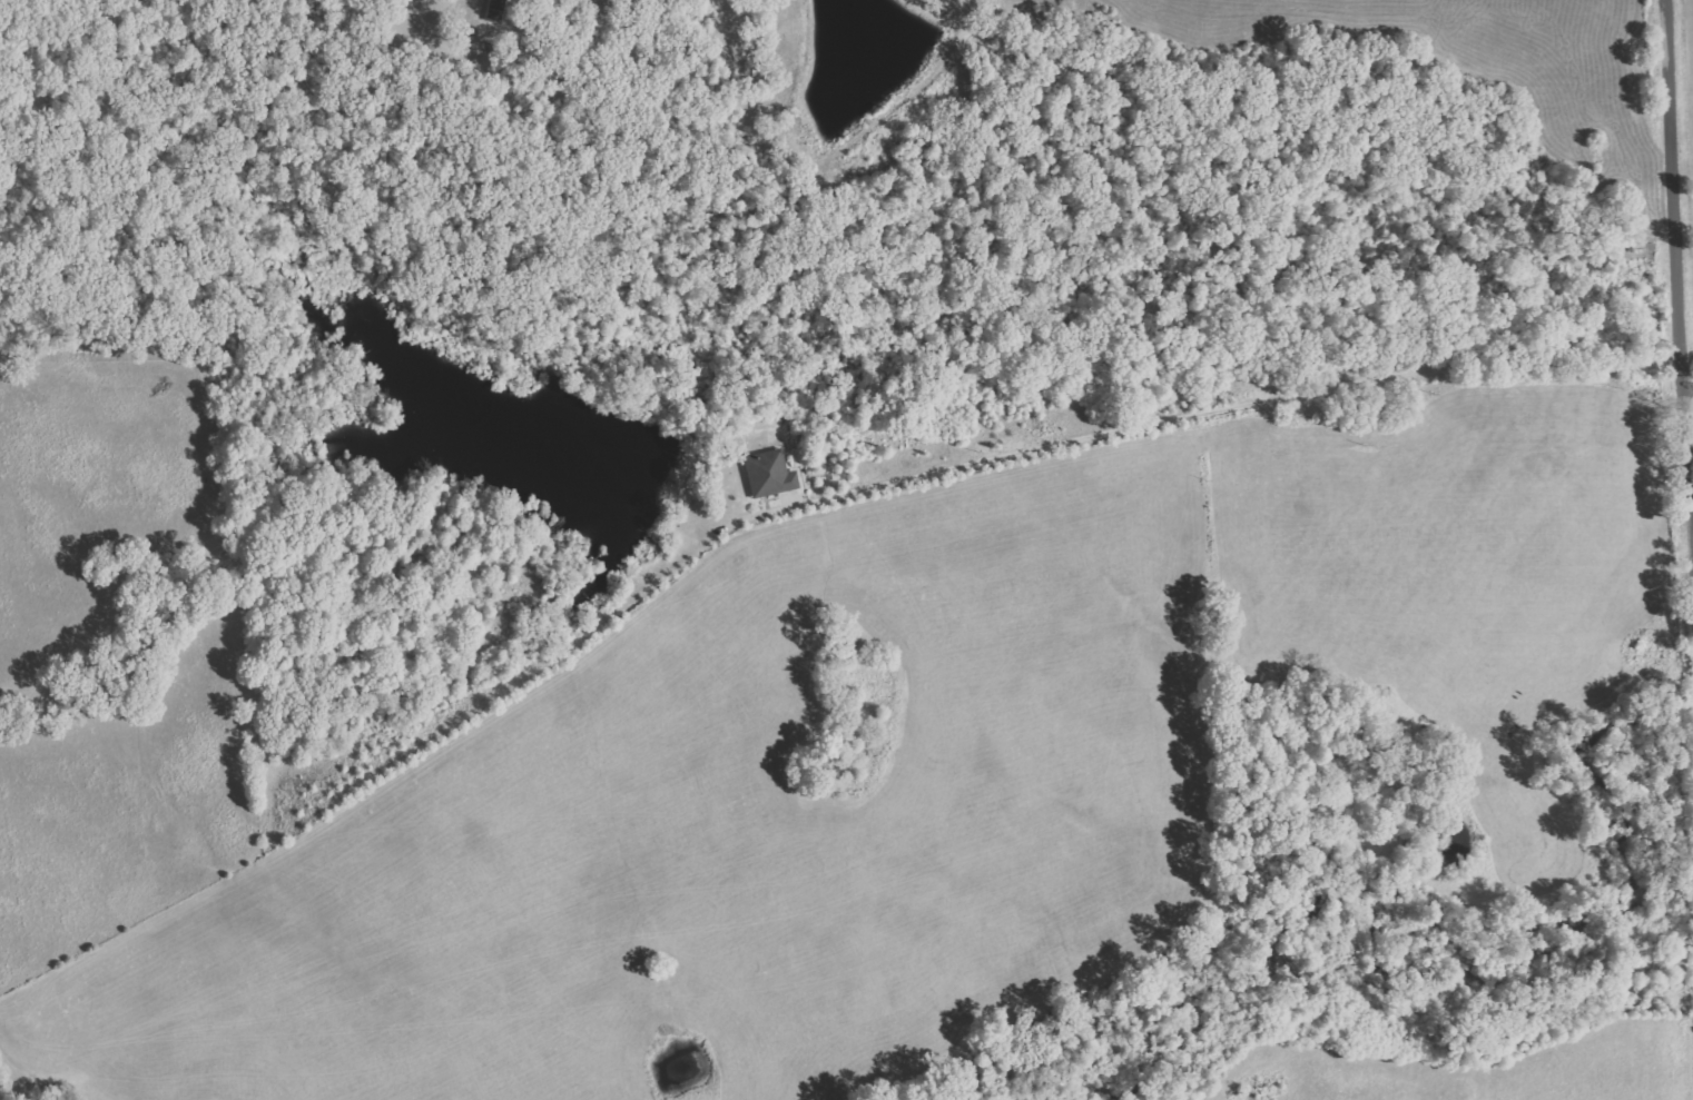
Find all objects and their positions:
building: (498, 11)
road: (1684, 196)
road: (1692, 358)
road: (1385, 380)
road: (942, 463)
building: (770, 474)

